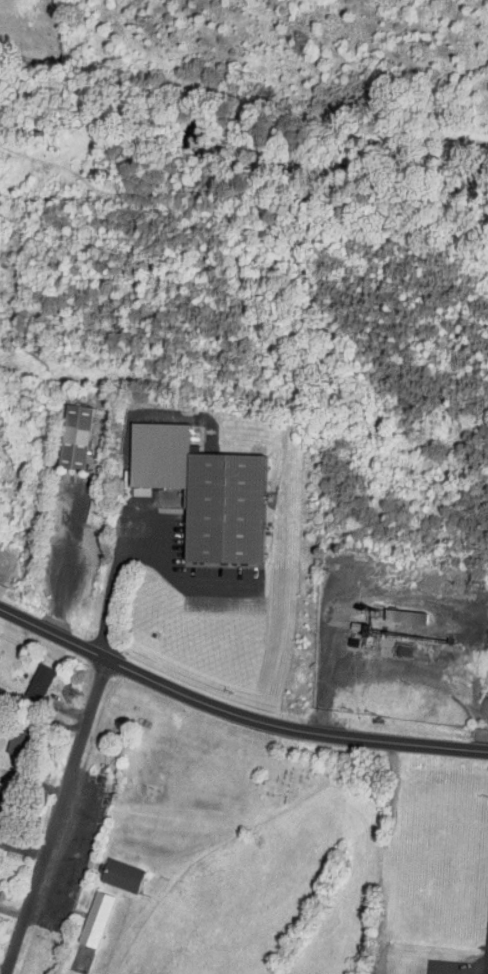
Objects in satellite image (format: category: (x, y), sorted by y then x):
building: (60, 430)
building: (189, 486)
building: (79, 506)
road: (137, 549)
road: (64, 561)
road: (307, 576)
building: (385, 612)
building: (481, 618)
building: (25, 677)
road: (233, 716)
road: (60, 821)
building: (108, 868)
building: (82, 913)

